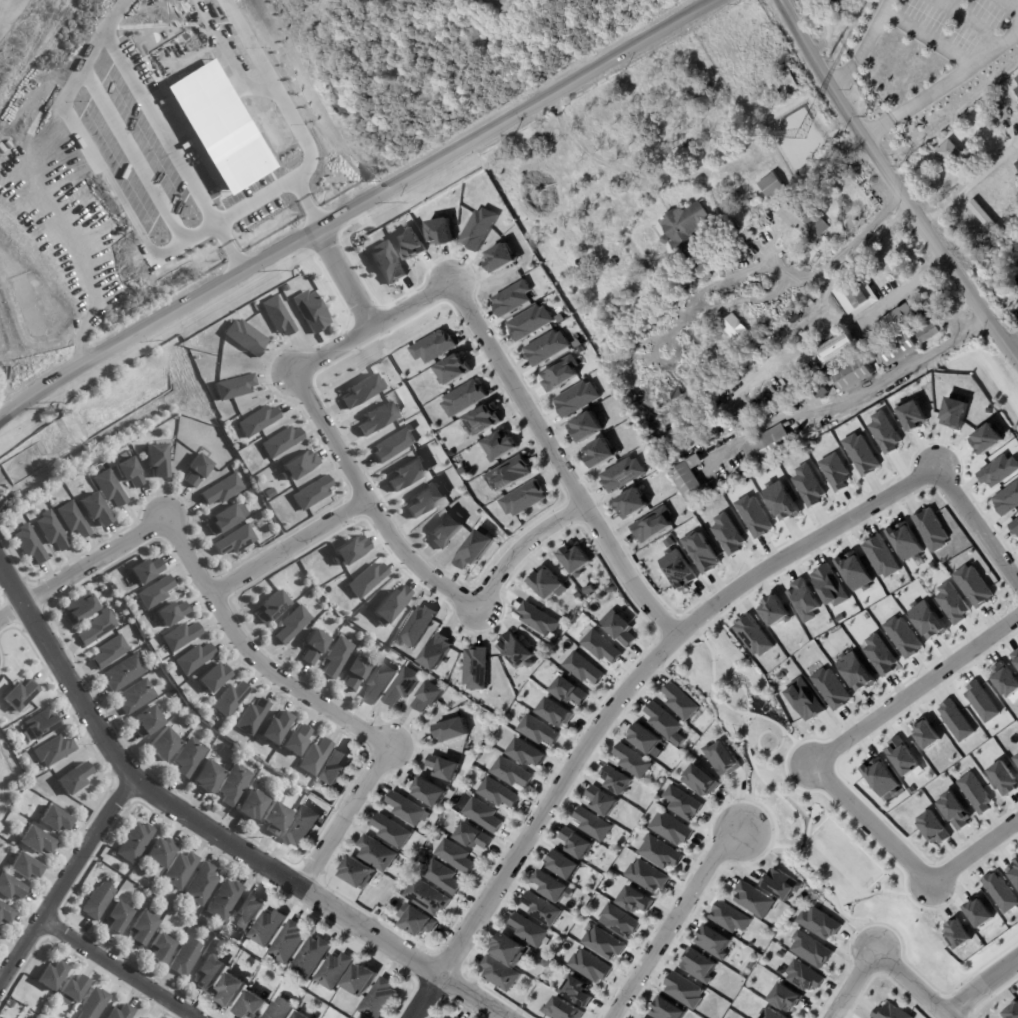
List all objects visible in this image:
building: (837, 7)
road: (865, 46)
building: (1017, 80)
building: (784, 82)
road: (941, 86)
building: (811, 94)
building: (207, 111)
road: (287, 111)
building: (820, 132)
road: (164, 136)
building: (949, 153)
building: (1, 163)
building: (1017, 165)
building: (240, 166)
road: (638, 177)
road: (970, 183)
building: (773, 186)
road: (894, 186)
building: (733, 200)
road: (357, 207)
building: (974, 207)
building: (99, 218)
building: (804, 220)
building: (685, 226)
building: (477, 229)
building: (439, 232)
building: (745, 237)
building: (754, 242)
building: (409, 244)
building: (747, 255)
building: (499, 258)
building: (727, 258)
building: (386, 263)
building: (613, 263)
building: (706, 277)
road: (345, 278)
building: (858, 296)
building: (511, 298)
building: (806, 307)
building: (310, 311)
road: (828, 312)
building: (277, 316)
building: (900, 319)
building: (529, 322)
road: (373, 327)
building: (930, 331)
building: (738, 332)
building: (245, 337)
building: (432, 346)
building: (545, 347)
building: (899, 348)
building: (841, 349)
building: (873, 361)
building: (713, 367)
building: (454, 369)
building: (769, 372)
building: (560, 373)
building: (852, 376)
building: (234, 386)
building: (360, 391)
building: (821, 391)
building: (676, 392)
road: (854, 396)
building: (463, 398)
building: (575, 398)
building: (953, 413)
building: (912, 416)
building: (377, 418)
building: (257, 421)
building: (483, 421)
building: (585, 427)
building: (884, 433)
building: (985, 440)
building: (282, 441)
building: (393, 444)
building: (500, 445)
building: (768, 445)
building: (599, 452)
building: (860, 454)
building: (158, 460)
road: (555, 463)
building: (300, 464)
building: (197, 470)
building: (997, 471)
building: (130, 472)
building: (834, 472)
building: (407, 473)
building: (510, 473)
building: (621, 474)
building: (692, 480)
building: (807, 486)
building: (110, 489)
building: (223, 490)
building: (312, 494)
building: (427, 499)
building: (523, 499)
building: (1006, 499)
building: (780, 501)
building: (631, 503)
building: (95, 510)
building: (753, 516)
building: (73, 519)
building: (224, 520)
building: (652, 525)
building: (1014, 526)
building: (445, 529)
building: (51, 530)
building: (930, 530)
building: (727, 535)
building: (236, 540)
building: (904, 541)
building: (28, 544)
road: (287, 548)
building: (474, 549)
building: (348, 550)
building: (700, 552)
building: (879, 557)
building: (575, 559)
road: (82, 566)
road: (411, 566)
building: (677, 569)
building: (146, 571)
building: (853, 571)
building: (366, 580)
building: (546, 584)
building: (828, 586)
building: (973, 586)
building: (155, 593)
building: (802, 600)
building: (951, 603)
building: (389, 605)
building: (80, 608)
building: (271, 608)
building: (773, 611)
building: (171, 614)
building: (537, 619)
building: (926, 619)
building: (292, 625)
building: (416, 627)
building: (97, 629)
building: (620, 630)
building: (752, 635)
building: (180, 636)
building: (902, 637)
road: (674, 639)
building: (315, 647)
building: (600, 647)
building: (514, 650)
building: (109, 652)
building: (436, 652)
building: (879, 655)
road: (250, 656)
building: (1015, 656)
building: (338, 657)
building: (193, 658)
building: (475, 668)
building: (582, 669)
building: (854, 671)
building: (125, 673)
building: (356, 674)
building: (214, 678)
building: (1003, 679)
building: (378, 683)
building: (402, 687)
building: (830, 689)
building: (568, 691)
building: (20, 696)
building: (137, 697)
building: (427, 697)
building: (229, 699)
building: (804, 700)
building: (980, 701)
building: (678, 702)
building: (555, 713)
building: (251, 716)
building: (661, 720)
building: (954, 721)
building: (148, 722)
building: (41, 724)
building: (274, 728)
building: (451, 731)
building: (537, 731)
building: (925, 734)
building: (643, 739)
building: (296, 741)
building: (164, 746)
building: (54, 751)
building: (527, 753)
building: (901, 756)
building: (190, 758)
building: (315, 758)
building: (720, 758)
building: (1016, 758)
building: (631, 761)
building: (336, 768)
building: (444, 768)
road: (817, 772)
building: (511, 773)
building: (880, 777)
building: (208, 778)
building: (1003, 779)
building: (74, 780)
building: (614, 780)
building: (699, 781)
building: (235, 785)
building: (428, 793)
building: (497, 793)
building: (973, 793)
building: (600, 801)
building: (681, 804)
building: (253, 807)
building: (407, 810)
building: (953, 811)
road: (341, 815)
building: (482, 815)
building: (276, 819)
building: (54, 821)
building: (591, 824)
building: (300, 827)
building: (931, 828)
building: (669, 829)
building: (391, 832)
road: (210, 834)
building: (472, 837)
building: (36, 842)
building: (575, 843)
building: (134, 844)
building: (160, 853)
building: (659, 853)
building: (378, 855)
building: (454, 856)
building: (561, 865)
building: (24, 868)
building: (153, 871)
building: (180, 871)
building: (1014, 871)
building: (358, 875)
building: (645, 876)
building: (441, 877)
building: (780, 884)
building: (550, 886)
building: (201, 887)
road: (66, 888)
building: (11, 889)
building: (999, 892)
building: (428, 898)
building: (635, 900)
building: (753, 900)
building: (224, 902)
building: (98, 903)
building: (539, 909)
building: (249, 912)
building: (978, 913)
building: (5, 916)
building: (728, 918)
building: (118, 919)
building: (618, 921)
road: (670, 921)
building: (419, 923)
building: (818, 923)
building: (269, 929)
building: (142, 931)
building: (527, 931)
building: (956, 934)
building: (712, 941)
building: (290, 944)
building: (602, 944)
building: (162, 949)
building: (810, 950)
building: (509, 951)
building: (313, 958)
building: (186, 959)
road: (882, 961)
building: (545, 964)
building: (588, 966)
building: (698, 966)
road: (119, 969)
building: (336, 972)
building: (210, 974)
building: (500, 975)
building: (805, 977)
building: (51, 978)
building: (362, 982)
road: (981, 988)
building: (575, 991)
building: (683, 991)
building: (72, 992)
building: (231, 992)
building: (785, 998)
building: (380, 1000)
building: (94, 1004)
building: (251, 1006)
building: (280, 1009)
building: (559, 1010)
building: (665, 1010)
building: (888, 1012)
building: (1010, 1012)
building: (121, 1013)
building: (772, 1014)
building: (300, 1016)
building: (142, 1017)
building: (439, 1017)

